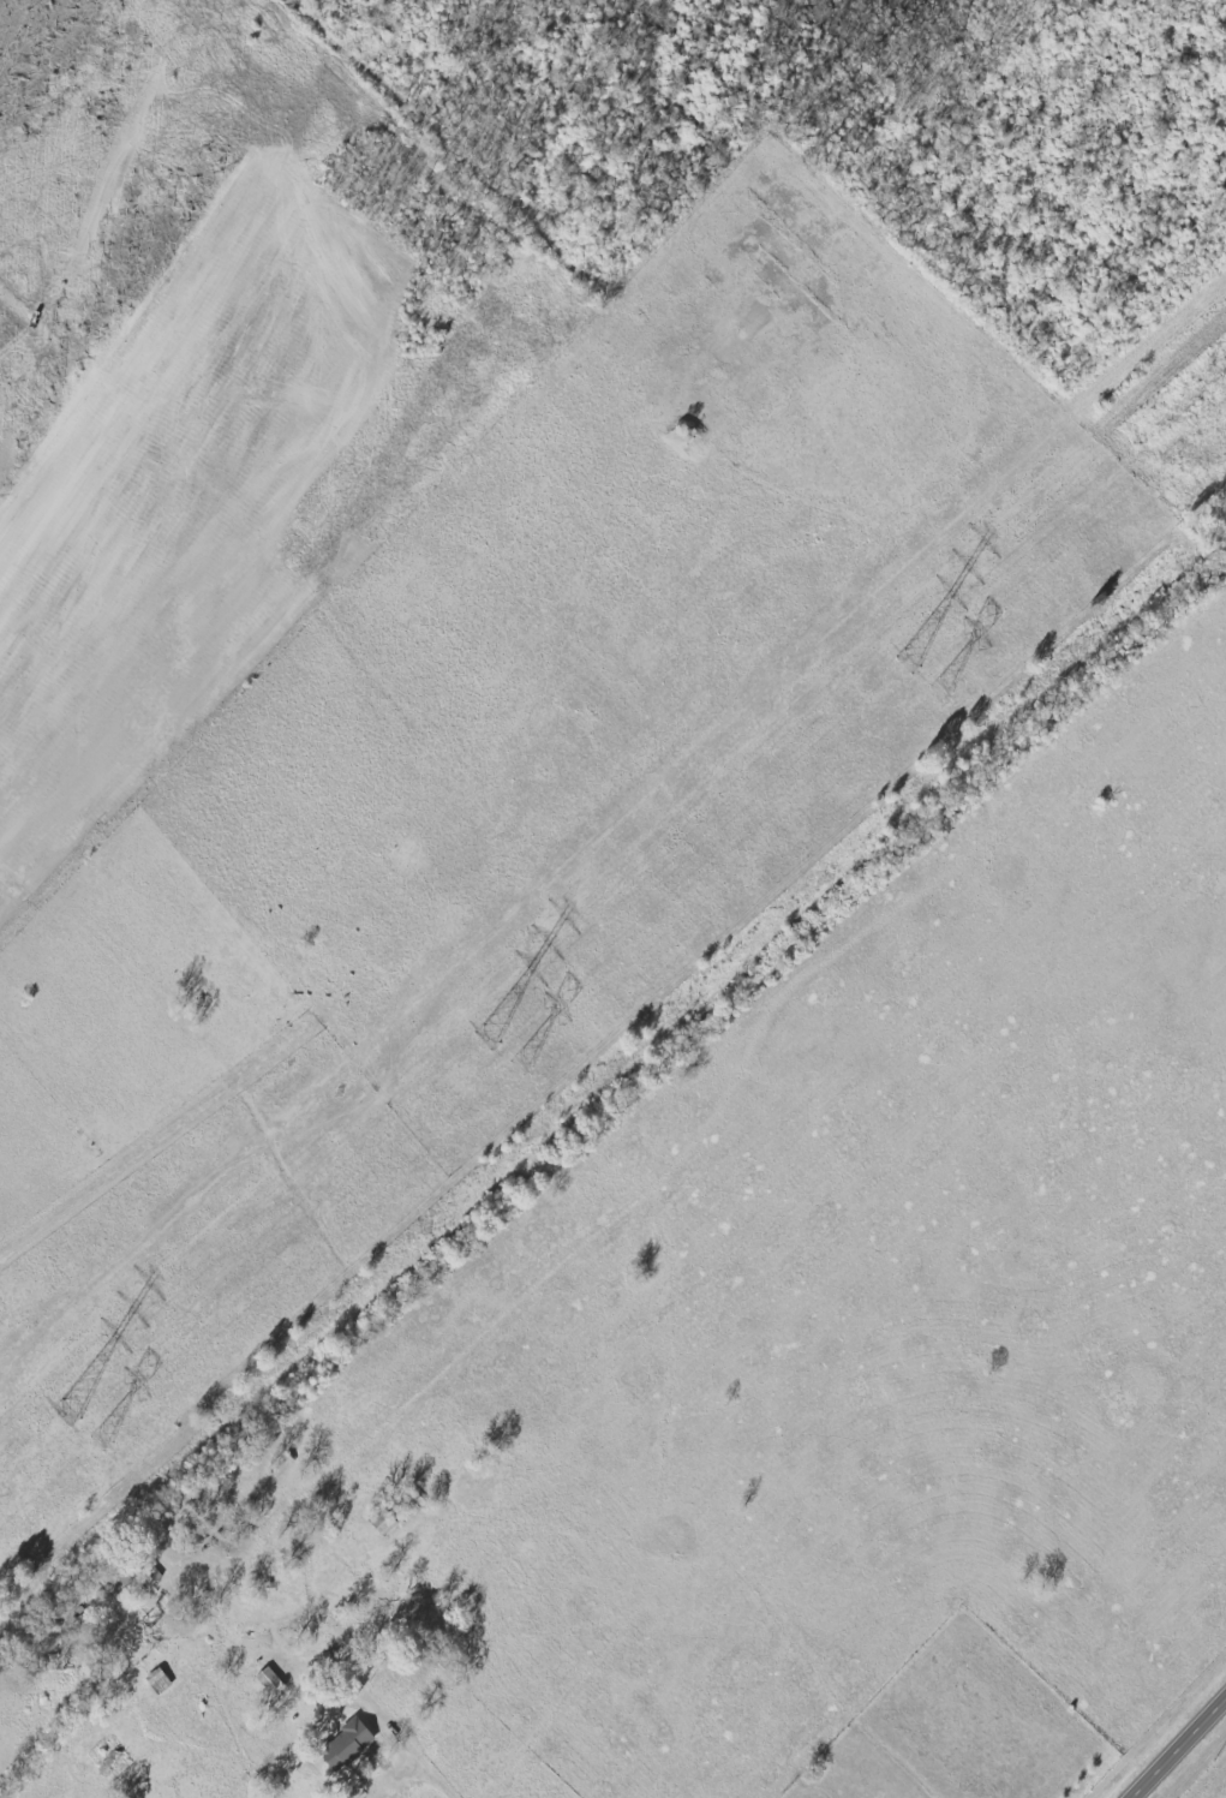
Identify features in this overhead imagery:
power tower: (904, 664)
power tower: (935, 692)
power tower: (488, 1040)
power tower: (520, 1065)
railway: (609, 1070)
road: (106, 1189)
power tower: (65, 1415)
power tower: (97, 1441)
building: (270, 1680)
building: (349, 1744)
road: (1178, 1746)
road: (447, 1785)

